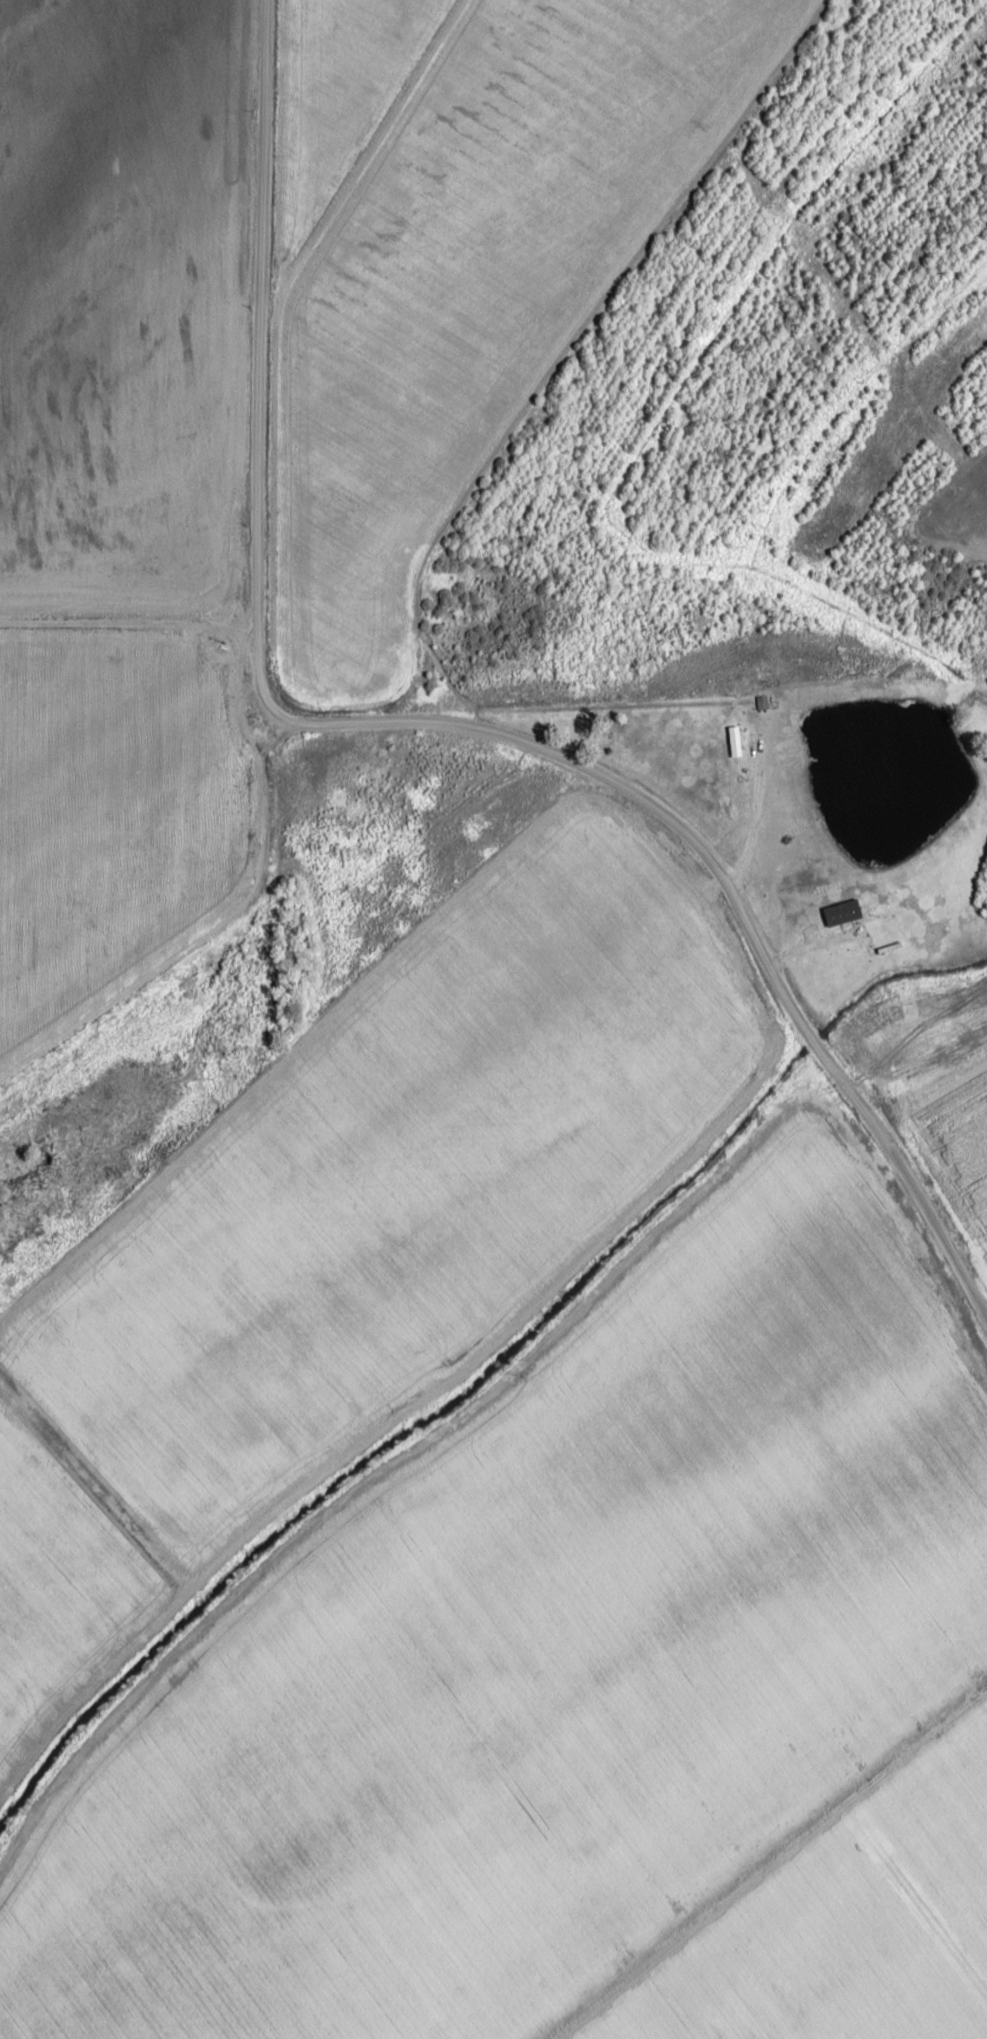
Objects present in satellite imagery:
road: (255, 366)
road: (617, 787)
building: (135, 895)

